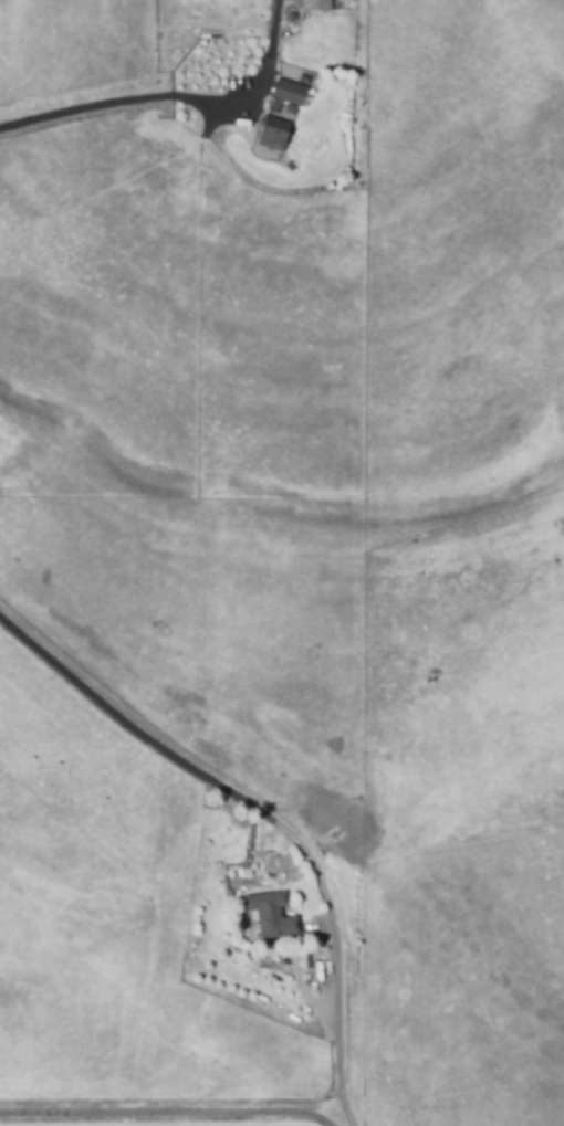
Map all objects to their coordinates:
building: (312, 9)
building: (285, 96)
road: (111, 105)
building: (271, 139)
road: (269, 817)
building: (274, 915)
road: (168, 1115)

